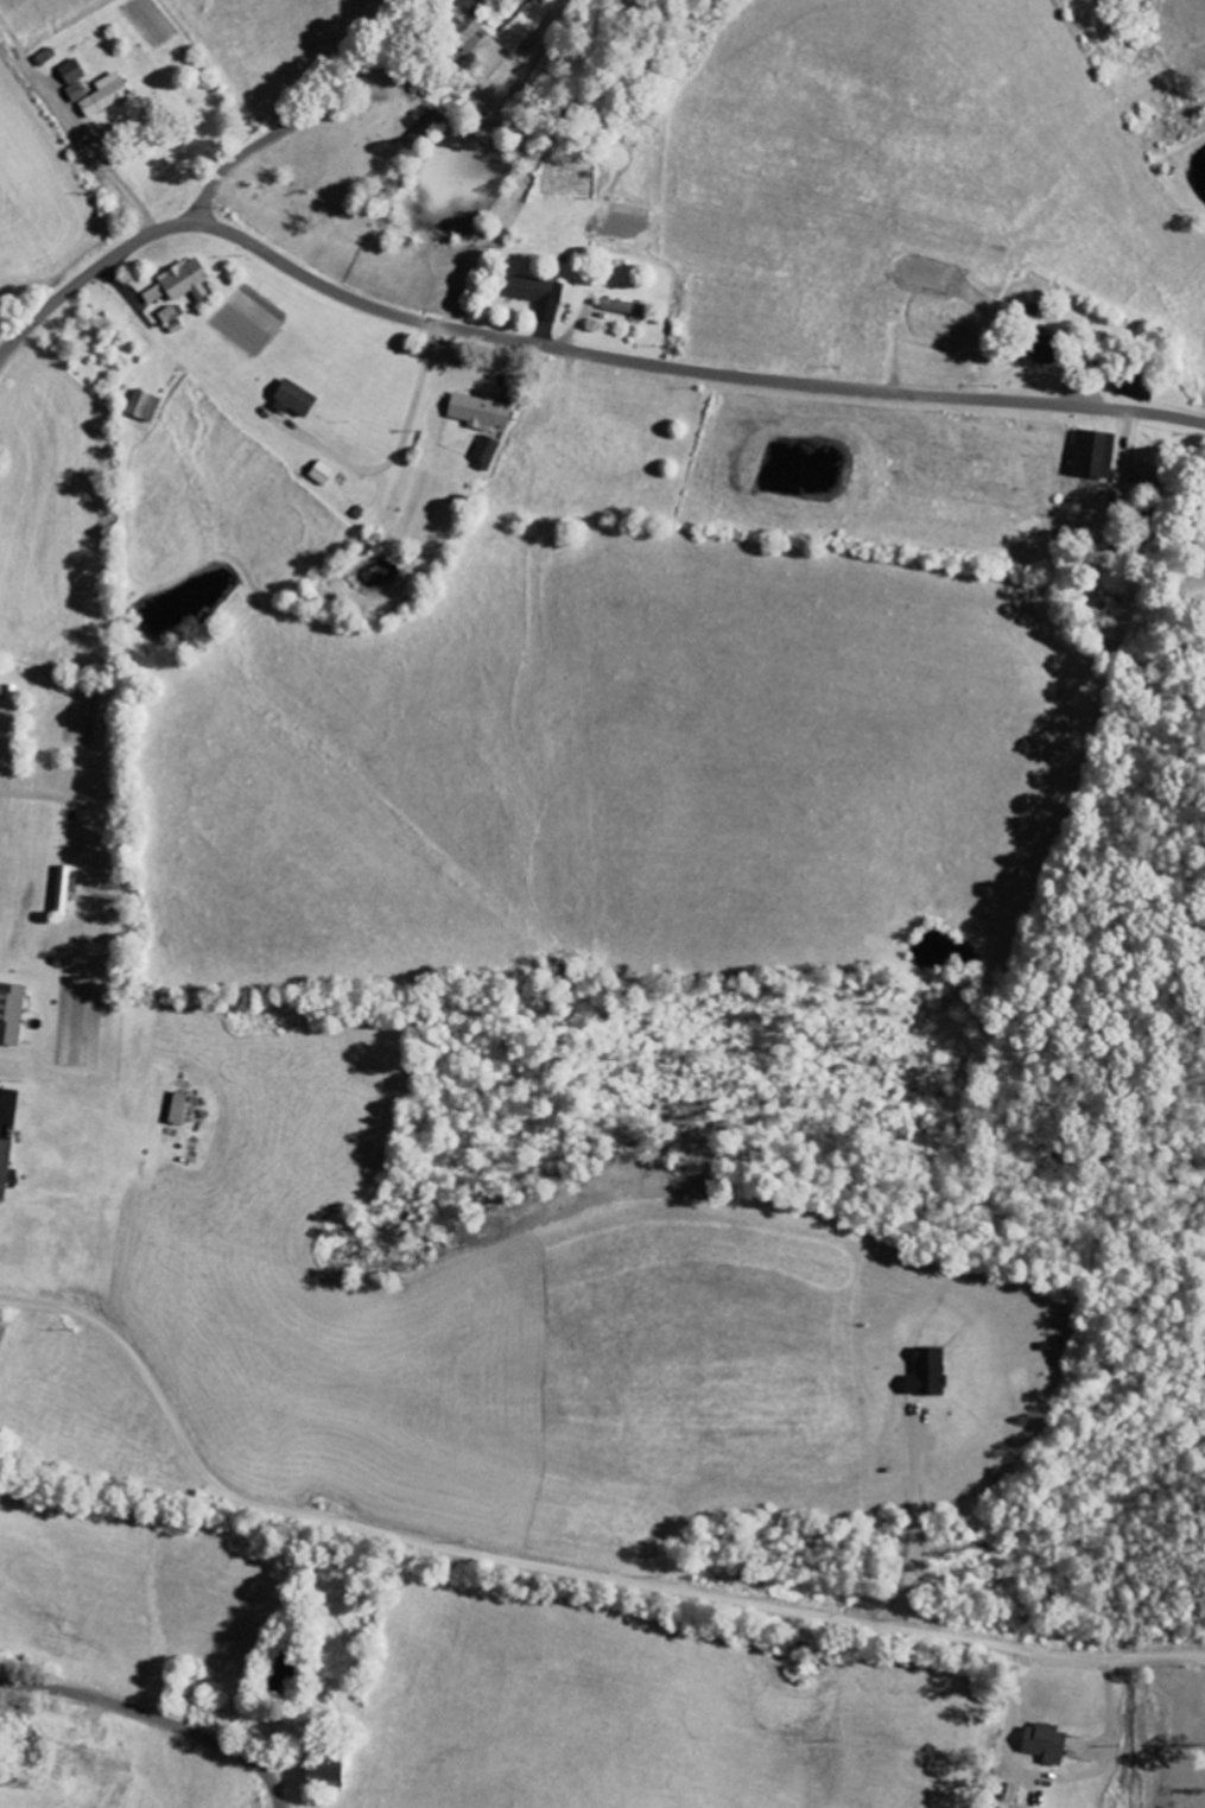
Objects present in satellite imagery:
building: (469, 32)
building: (72, 71)
building: (77, 91)
building: (107, 95)
road: (307, 113)
road: (112, 126)
building: (188, 280)
building: (538, 294)
road: (569, 349)
building: (1045, 353)
building: (1139, 387)
building: (297, 398)
building: (144, 405)
building: (481, 411)
building: (486, 452)
building: (1095, 453)
building: (323, 472)
building: (64, 888)
building: (5, 1167)
road: (557, 1568)
road: (156, 1718)
building: (1047, 1744)
building: (326, 1775)

